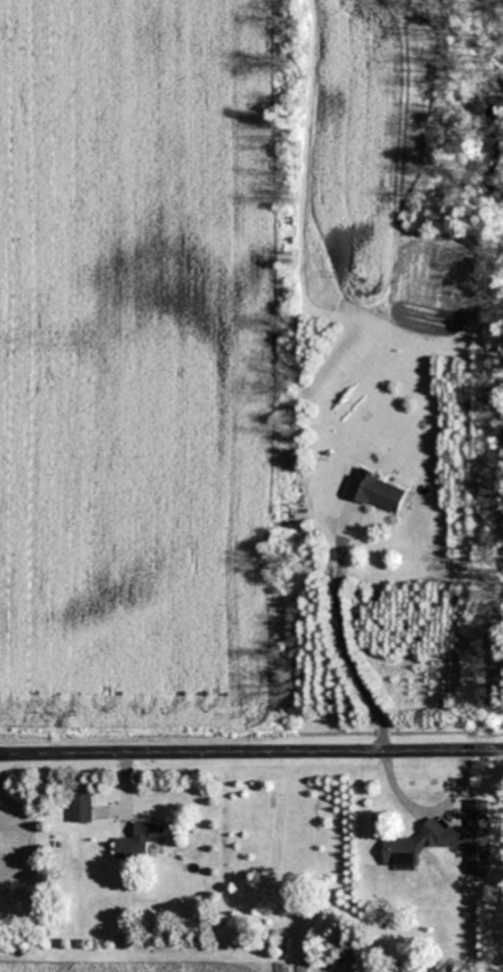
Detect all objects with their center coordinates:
building: (377, 490)
road: (251, 750)
building: (81, 807)
building: (141, 839)
building: (447, 841)

